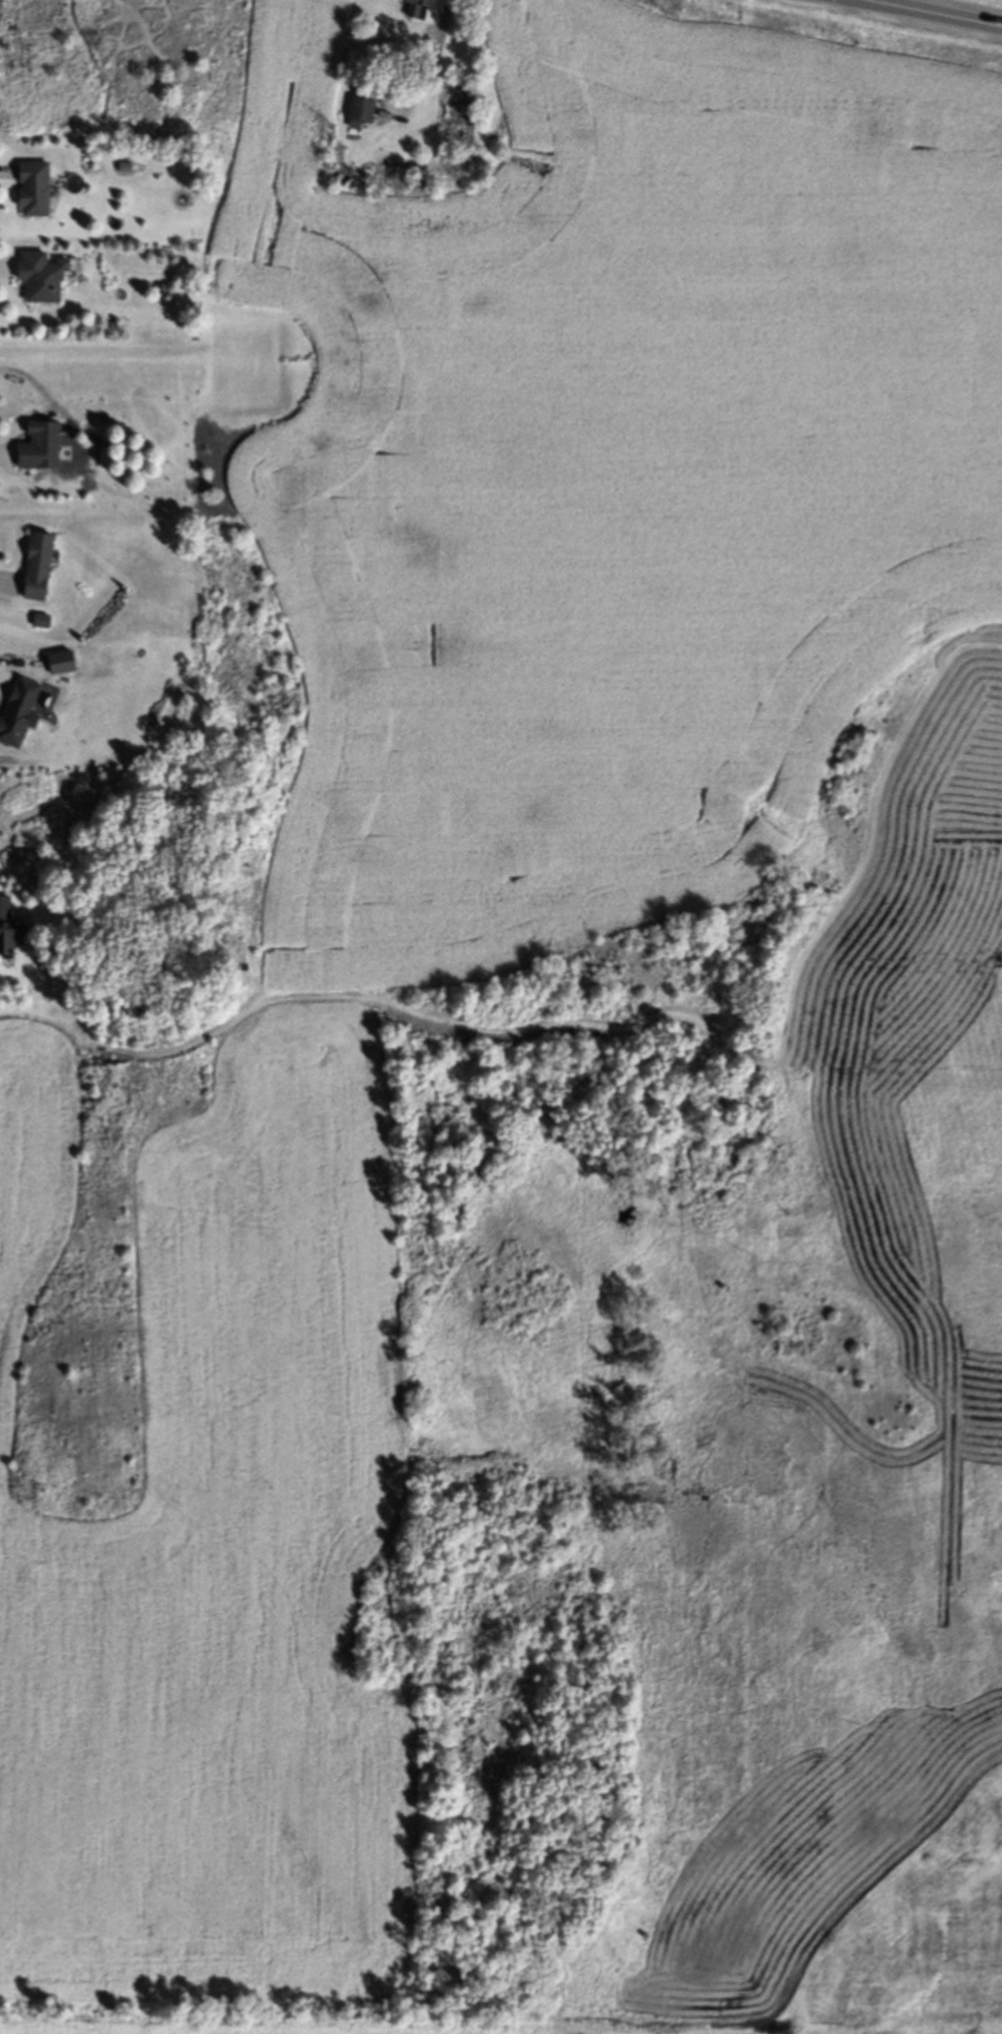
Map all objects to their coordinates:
building: (414, 9)
road: (929, 14)
road: (422, 58)
building: (358, 113)
building: (450, 121)
building: (31, 192)
building: (38, 280)
building: (36, 449)
building: (34, 570)
building: (4, 927)

